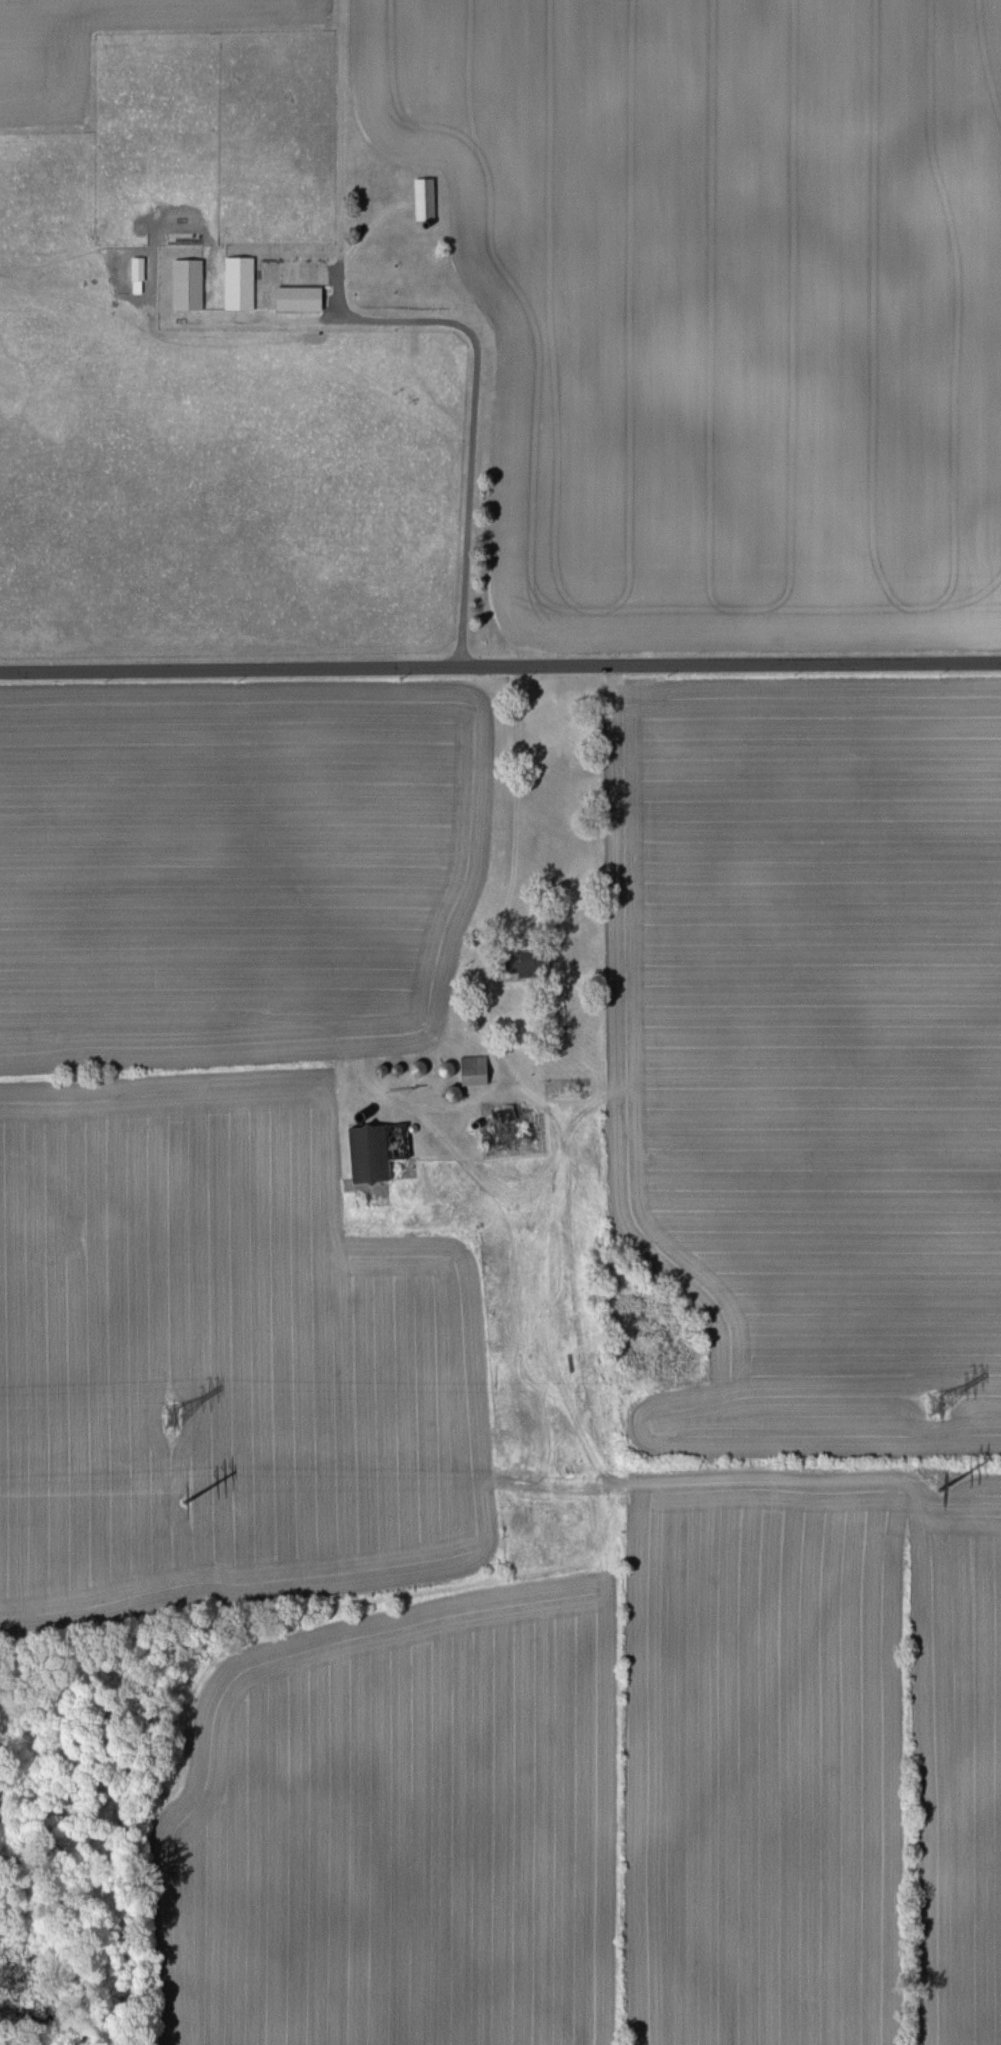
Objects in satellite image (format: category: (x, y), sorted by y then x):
building: (426, 198)
building: (241, 283)
building: (190, 284)
building: (301, 298)
road: (471, 411)
road: (500, 667)
road: (500, 823)
building: (530, 962)
building: (422, 1067)
building: (450, 1068)
building: (379, 1149)
power tower: (937, 1404)
power tower: (171, 1416)
power tower: (938, 1489)
power tower: (183, 1497)

